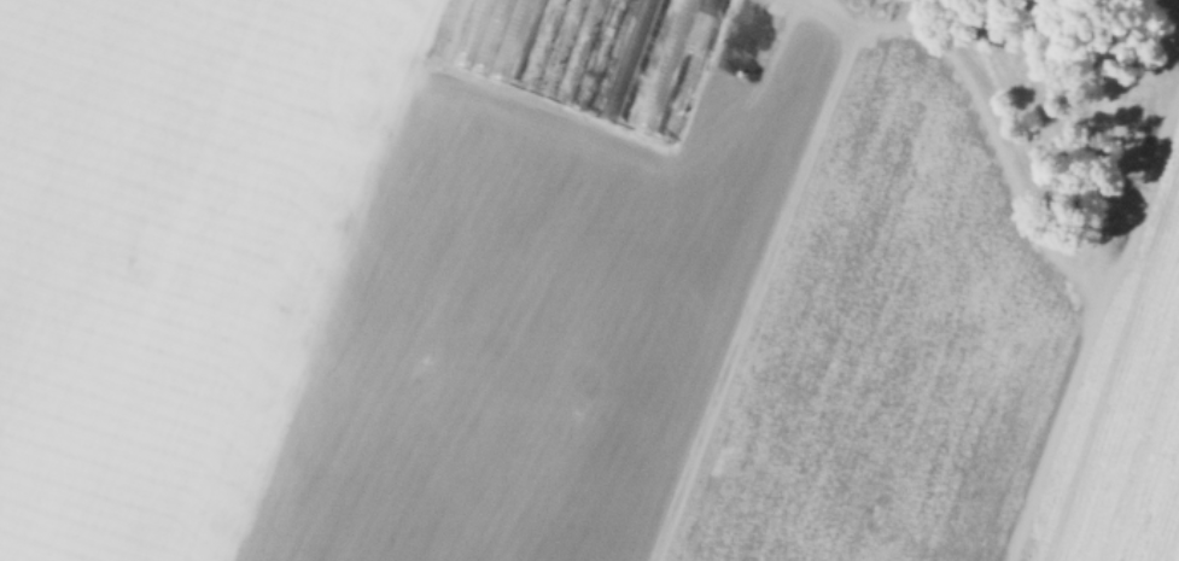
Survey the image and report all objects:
building: (591, 55)
road: (761, 267)
crop: (589, 280)

